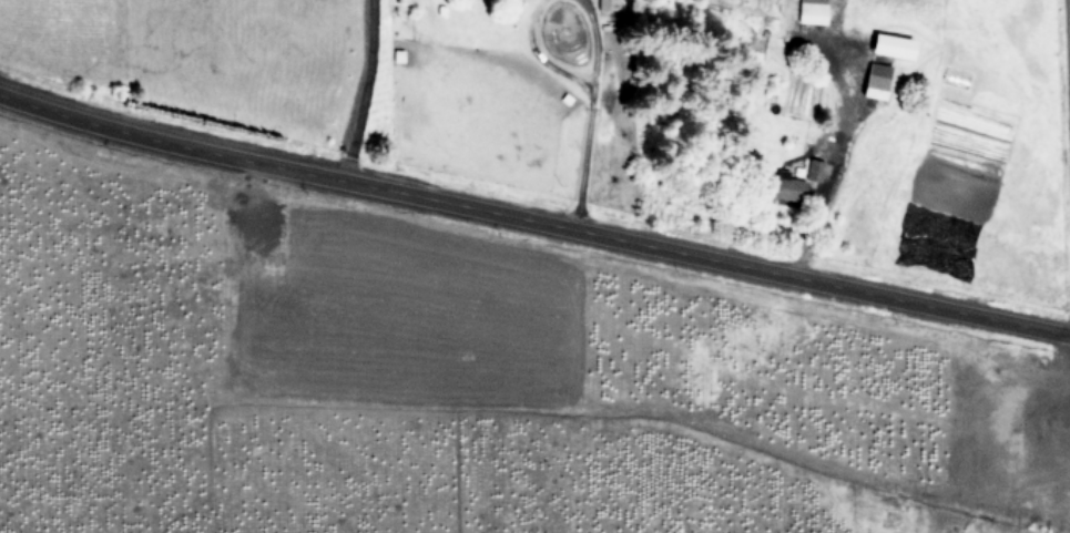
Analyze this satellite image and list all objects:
building: (605, 4)
building: (809, 11)
road: (591, 39)
road: (534, 52)
building: (874, 80)
road: (363, 90)
road: (1066, 130)
road: (580, 153)
road: (827, 163)
building: (813, 171)
road: (533, 219)
crop: (457, 385)

